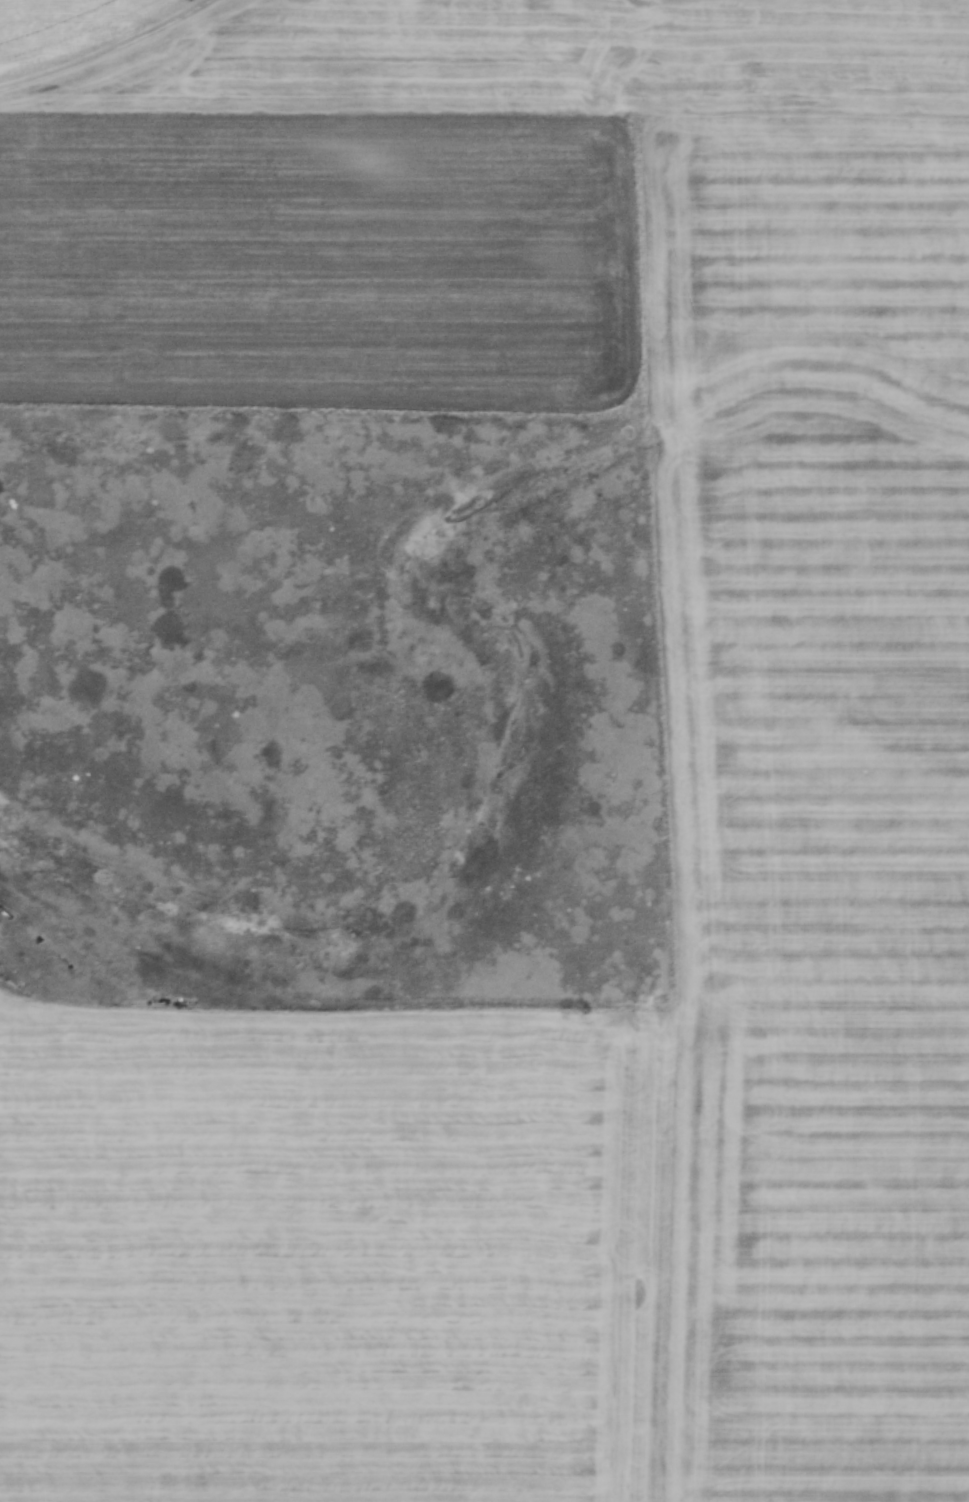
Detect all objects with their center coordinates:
crop: (816, 667)

